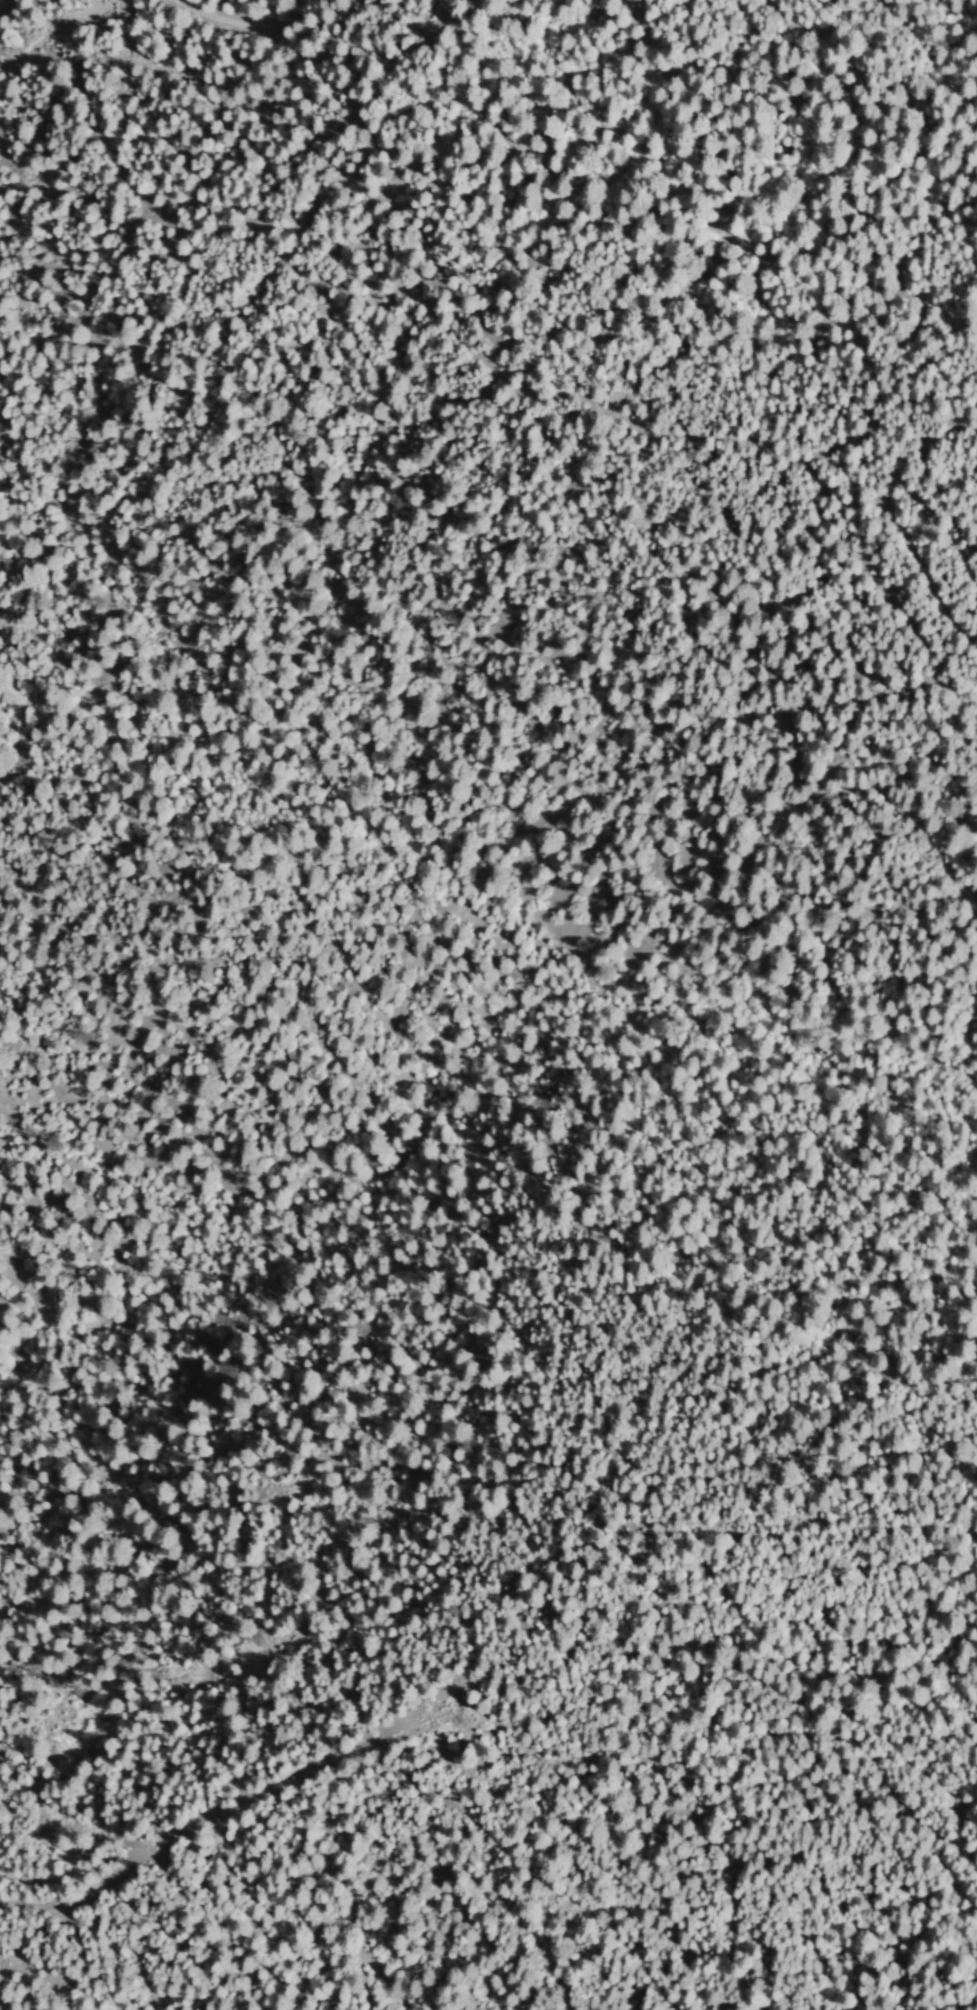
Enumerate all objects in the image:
road: (148, 34)

